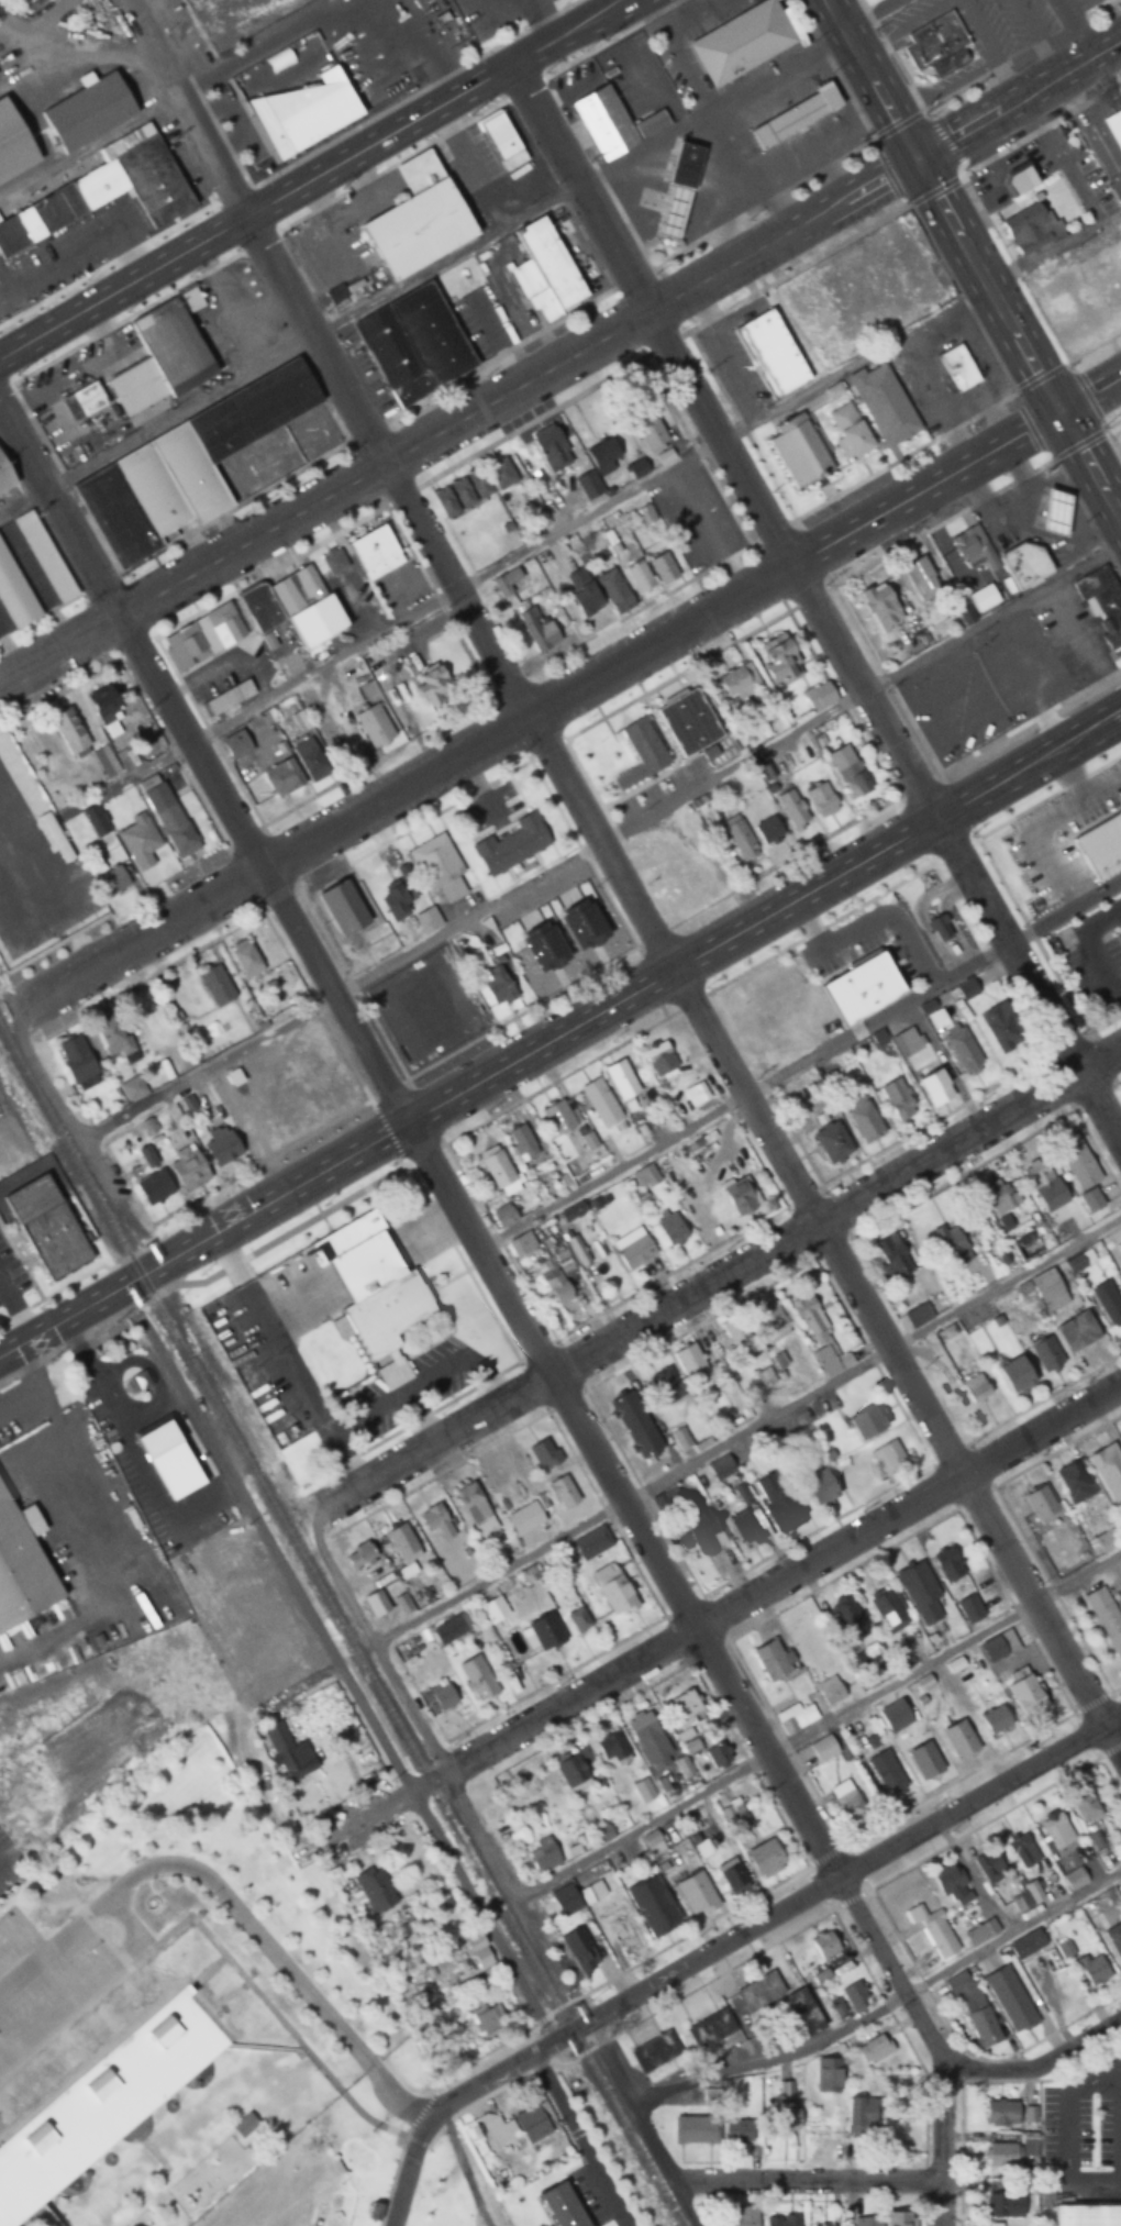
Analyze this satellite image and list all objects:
road: (1074, 29)
road: (565, 31)
building: (742, 41)
building: (936, 43)
road: (869, 79)
road: (1017, 99)
building: (88, 110)
road: (924, 113)
building: (303, 114)
building: (796, 114)
building: (612, 121)
road: (897, 122)
road: (1036, 128)
building: (1114, 128)
building: (502, 141)
road: (874, 142)
road: (942, 142)
building: (13, 144)
traffic signals: (912, 158)
road: (889, 176)
building: (1018, 180)
road: (579, 185)
building: (104, 189)
road: (930, 189)
building: (678, 190)
road: (932, 196)
road: (255, 209)
building: (419, 219)
building: (1118, 228)
building: (1025, 229)
road: (780, 234)
road: (469, 245)
road: (1013, 267)
building: (543, 272)
road: (786, 272)
building: (1043, 274)
road: (980, 280)
building: (1111, 295)
road: (961, 296)
building: (1077, 330)
road: (312, 340)
building: (174, 343)
building: (414, 343)
road: (1091, 346)
building: (772, 351)
building: (958, 364)
road: (1031, 367)
road: (1039, 377)
building: (136, 385)
building: (832, 387)
road: (1087, 389)
building: (87, 397)
road: (1015, 397)
road: (1087, 397)
building: (884, 401)
traffic signals: (1054, 408)
road: (1028, 424)
building: (851, 427)
road: (742, 428)
building: (650, 433)
road: (721, 441)
road: (1077, 441)
road: (1111, 441)
building: (551, 447)
building: (797, 448)
road: (1078, 448)
road: (1043, 454)
road: (901, 455)
building: (604, 456)
road: (385, 462)
building: (188, 463)
building: (637, 469)
building: (501, 473)
building: (4, 479)
building: (478, 484)
road: (921, 484)
building: (587, 485)
building: (460, 494)
building: (445, 503)
road: (1111, 508)
building: (1056, 512)
road: (60, 513)
road: (1086, 517)
road: (937, 521)
gas station: (1032, 525)
building: (974, 546)
road: (811, 549)
building: (375, 551)
building: (44, 556)
building: (332, 562)
building: (1024, 563)
building: (662, 568)
building: (639, 576)
building: (920, 576)
building: (507, 584)
building: (613, 591)
building: (582, 593)
building: (14, 594)
building: (984, 598)
building: (284, 599)
building: (881, 606)
building: (1100, 606)
building: (223, 624)
building: (537, 629)
building: (186, 645)
road: (60, 647)
building: (781, 661)
road: (884, 675)
building: (737, 682)
building: (433, 686)
building: (819, 696)
building: (227, 697)
building: (107, 709)
road: (1025, 718)
building: (374, 726)
road: (884, 727)
building: (68, 730)
building: (235, 744)
building: (334, 744)
building: (640, 754)
building: (310, 758)
building: (848, 771)
building: (281, 777)
road: (1064, 778)
road: (398, 783)
road: (1044, 796)
building: (822, 799)
building: (699, 808)
building: (792, 810)
building: (1116, 810)
building: (95, 823)
road: (1043, 827)
building: (176, 830)
building: (768, 831)
road: (600, 838)
building: (740, 838)
building: (512, 845)
building: (141, 849)
road: (953, 849)
building: (1110, 852)
building: (437, 867)
building: (107, 876)
road: (954, 879)
building: (568, 893)
building: (398, 902)
road: (955, 906)
building: (344, 909)
road: (1099, 913)
building: (426, 921)
road: (822, 921)
building: (508, 924)
building: (939, 924)
road: (926, 927)
road: (952, 928)
building: (558, 948)
building: (841, 956)
building: (245, 959)
road: (1094, 959)
building: (800, 983)
building: (215, 985)
building: (496, 985)
road: (1062, 985)
road: (1114, 987)
building: (857, 990)
road: (630, 992)
building: (761, 1014)
road: (1100, 1019)
building: (998, 1029)
building: (114, 1034)
building: (906, 1042)
building: (963, 1050)
building: (75, 1057)
building: (658, 1057)
road: (1105, 1057)
building: (769, 1062)
road: (799, 1065)
building: (621, 1079)
road: (1113, 1081)
building: (131, 1087)
building: (935, 1087)
building: (695, 1094)
building: (897, 1098)
building: (599, 1103)
road: (751, 1112)
building: (556, 1118)
building: (864, 1120)
road: (81, 1134)
building: (832, 1141)
building: (520, 1142)
building: (221, 1144)
building: (1076, 1161)
building: (188, 1166)
building: (498, 1171)
building: (1036, 1173)
building: (154, 1186)
building: (739, 1195)
building: (1090, 1200)
building: (1001, 1203)
building: (568, 1214)
building: (46, 1226)
road: (284, 1230)
building: (1120, 1237)
building: (951, 1244)
building: (1025, 1245)
building: (634, 1251)
building: (891, 1258)
road: (711, 1281)
building: (557, 1288)
building: (1047, 1288)
building: (365, 1292)
road: (148, 1293)
building: (1107, 1303)
road: (69, 1315)
building: (917, 1315)
building: (770, 1321)
building: (731, 1332)
building: (1076, 1332)
building: (819, 1337)
road: (68, 1339)
building: (1045, 1354)
building: (687, 1358)
building: (1015, 1375)
building: (763, 1376)
building: (664, 1385)
building: (975, 1388)
road: (570, 1411)
building: (867, 1422)
road: (746, 1431)
building: (679, 1437)
road: (1055, 1446)
building: (544, 1452)
building: (887, 1458)
building: (169, 1459)
building: (719, 1466)
building: (1108, 1472)
building: (1075, 1481)
building: (820, 1486)
building: (560, 1492)
building: (777, 1500)
building: (1040, 1504)
building: (475, 1508)
building: (436, 1520)
building: (743, 1525)
building: (703, 1530)
building: (1106, 1540)
building: (402, 1543)
building: (363, 1553)
building: (21, 1564)
building: (947, 1564)
building: (602, 1570)
road: (765, 1587)
road: (1053, 1588)
building: (919, 1591)
building: (375, 1603)
building: (888, 1607)
building: (491, 1609)
building: (847, 1617)
building: (1106, 1618)
building: (577, 1619)
railway: (340, 1627)
building: (543, 1631)
road: (369, 1641)
building: (998, 1646)
building: (772, 1660)
road: (340, 1662)
building: (477, 1677)
building: (923, 1682)
road: (1111, 1685)
building: (829, 1691)
building: (1024, 1692)
building: (442, 1697)
building: (793, 1717)
building: (995, 1720)
road: (815, 1728)
building: (686, 1739)
building: (958, 1739)
building: (648, 1740)
building: (612, 1748)
building: (822, 1748)
building: (282, 1750)
building: (715, 1754)
building: (924, 1761)
building: (574, 1768)
building: (886, 1773)
building: (642, 1791)
building: (844, 1797)
building: (1086, 1808)
road: (366, 1816)
building: (1056, 1832)
building: (601, 1834)
building: (1118, 1845)
building: (1021, 1851)
building: (543, 1856)
building: (765, 1858)
building: (988, 1868)
building: (732, 1875)
road: (834, 1875)
building: (1073, 1879)
building: (947, 1880)
road: (499, 1881)
building: (374, 1890)
building: (696, 1893)
building: (1026, 1898)
road: (230, 1906)
building: (653, 1906)
building: (455, 1914)
building: (932, 1931)
building: (979, 1932)
building: (1113, 1936)
road: (208, 1941)
building: (1028, 1943)
building: (824, 1945)
road: (755, 1949)
building: (478, 1950)
building: (579, 1950)
building: (1092, 1968)
road: (611, 1974)
road: (88, 1983)
building: (962, 1986)
building: (758, 1992)
building: (854, 1995)
building: (1007, 1996)
road: (884, 2007)
building: (803, 2011)
building: (485, 2019)
building: (983, 2024)
building: (710, 2029)
building: (164, 2031)
building: (873, 2049)
building: (653, 2051)
road: (1037, 2062)
building: (828, 2074)
building: (102, 2083)
road: (630, 2102)
road: (437, 2106)
road: (418, 2109)
building: (1000, 2114)
building: (786, 2115)
building: (859, 2115)
building: (243, 2125)
building: (515, 2126)
building: (737, 2127)
building: (693, 2128)
building: (42, 2137)
road: (413, 2140)
building: (1002, 2155)
road: (457, 2158)
road: (389, 2177)
road: (811, 2178)
road: (686, 2202)
building: (1001, 2205)
building: (562, 2206)
road: (922, 2212)
building: (745, 2215)
building: (1087, 2215)
building: (899, 2218)
building: (781, 2221)
building: (865, 2222)
building: (821, 2225)

